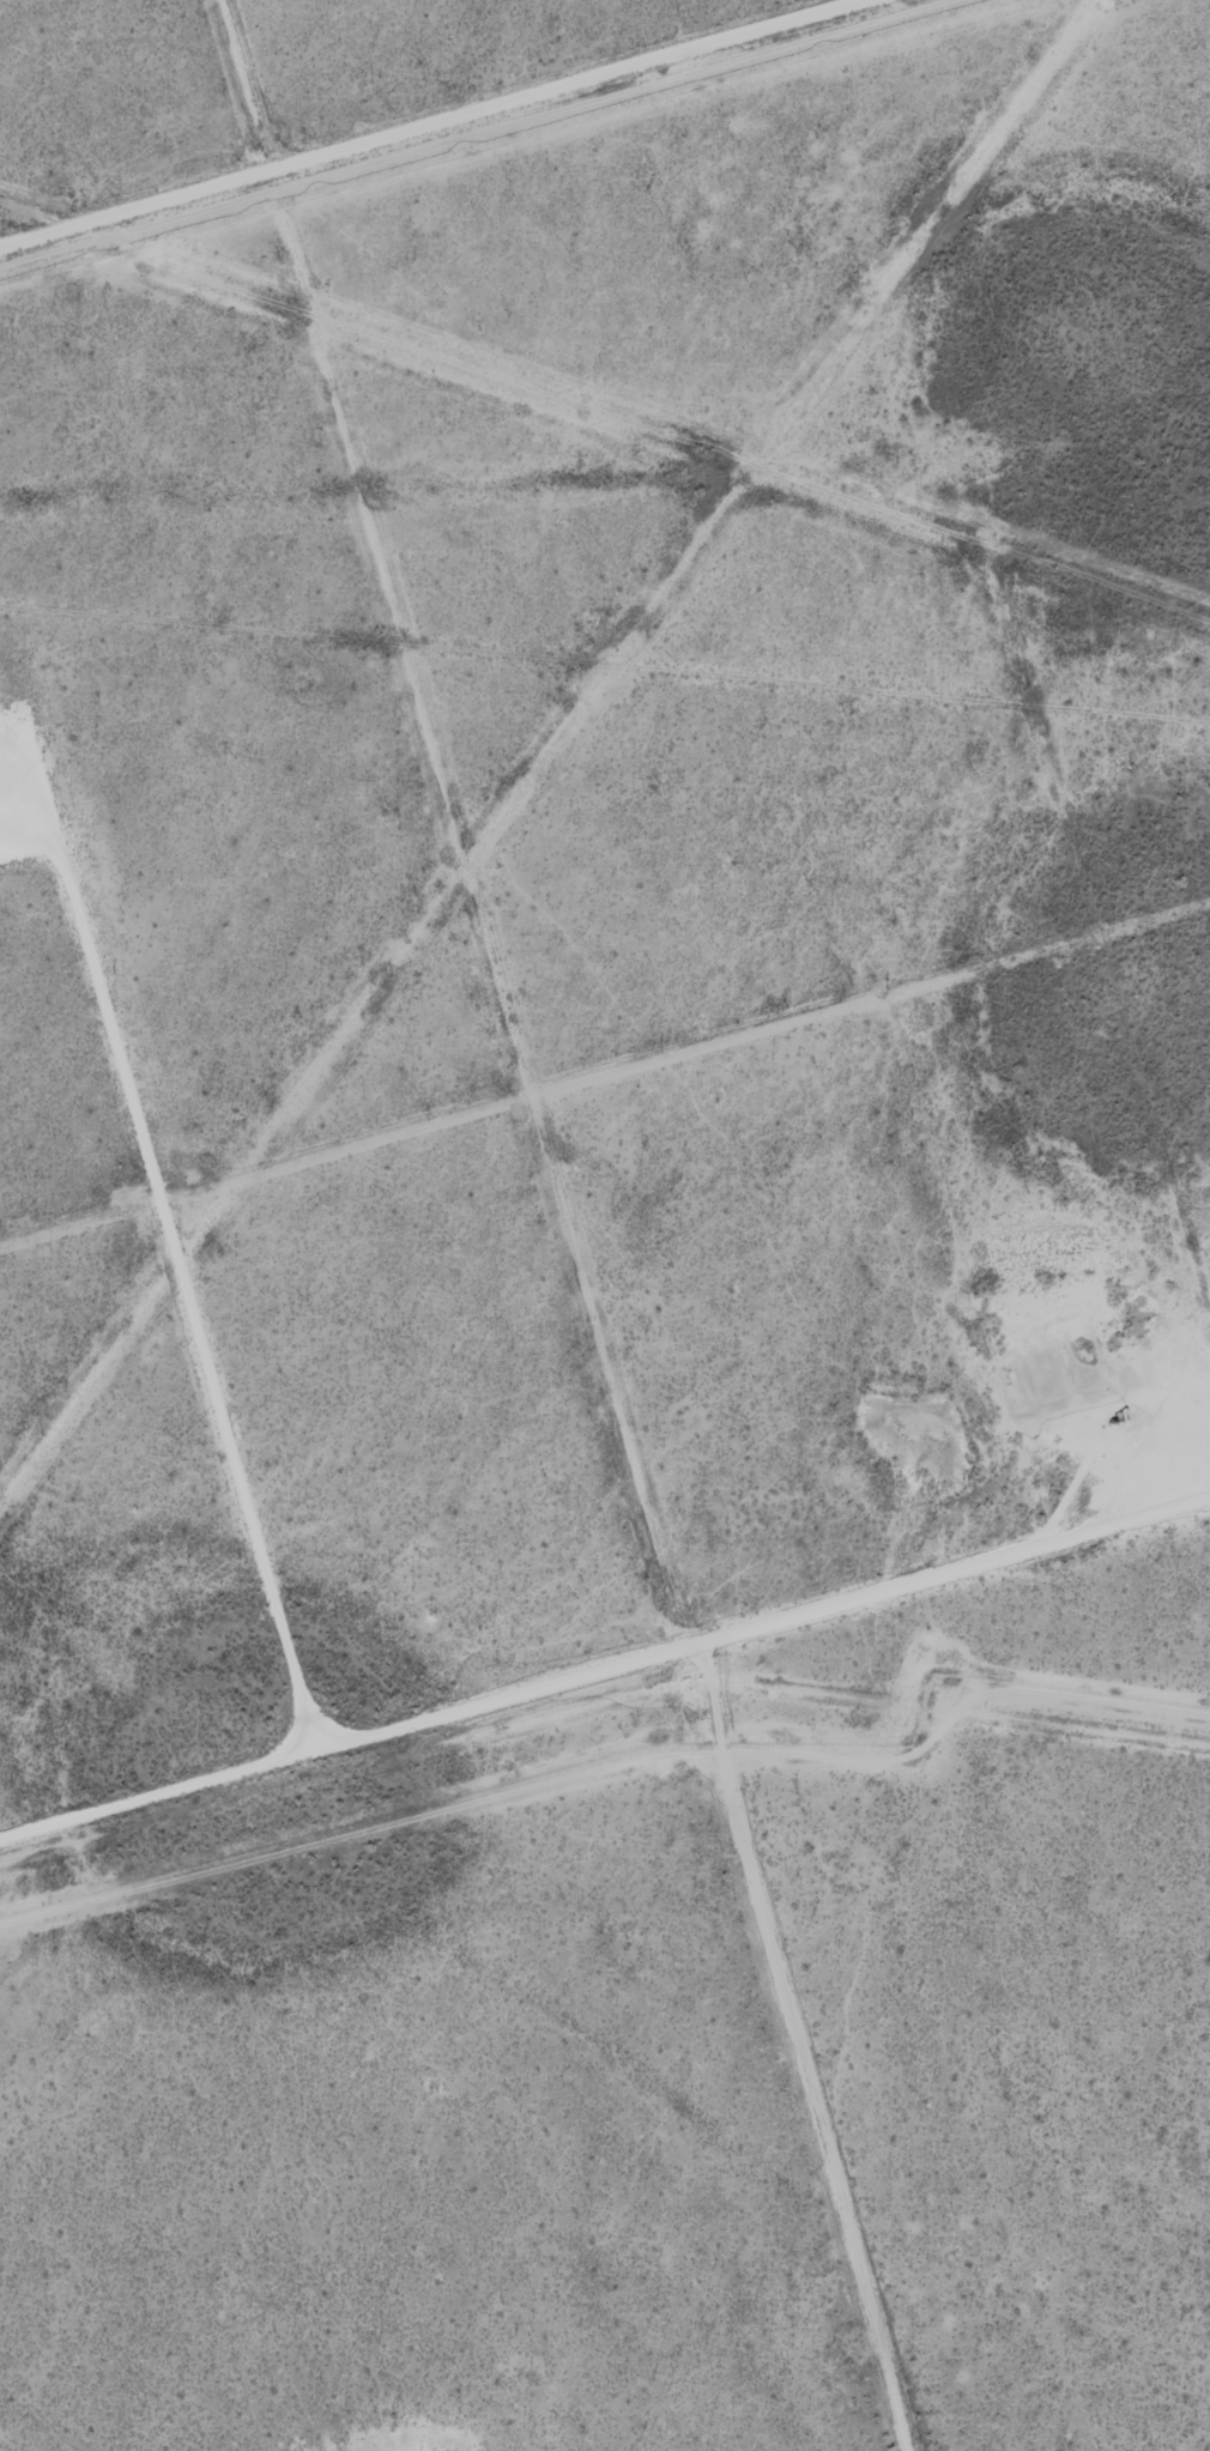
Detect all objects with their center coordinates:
road: (161, 1230)
petroleum well: (1114, 1432)
road: (605, 1663)

